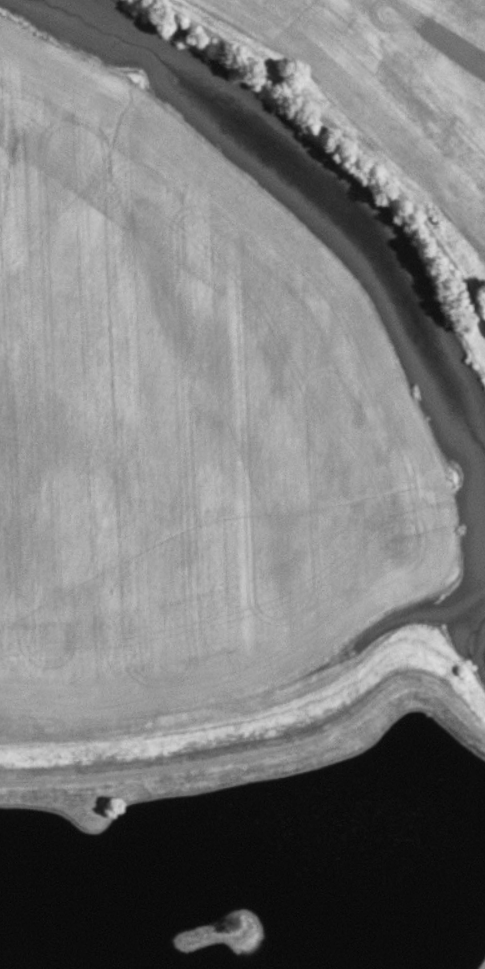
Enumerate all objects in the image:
road: (376, 79)

